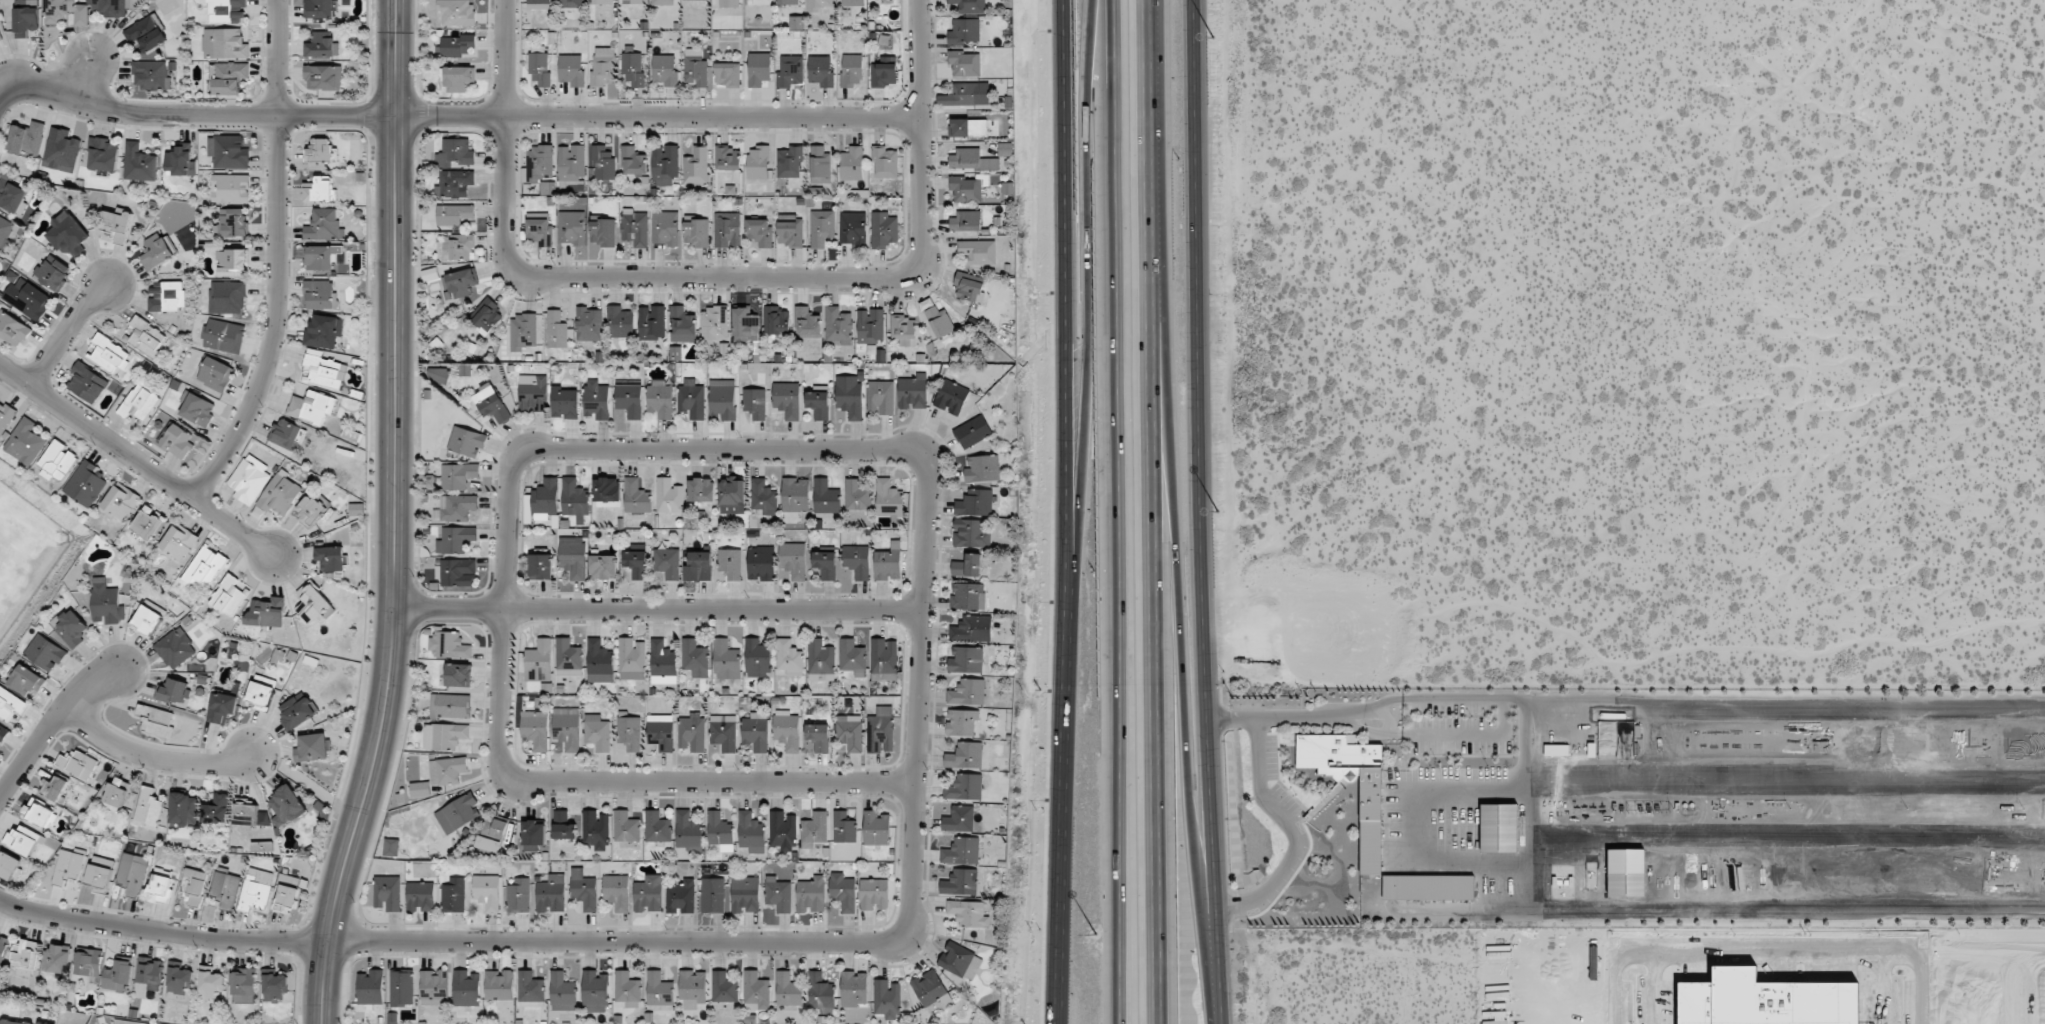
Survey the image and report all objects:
building: (686, 0)
building: (632, 1)
building: (602, 2)
building: (663, 2)
building: (788, 2)
building: (852, 2)
building: (571, 3)
building: (728, 3)
building: (540, 4)
building: (818, 5)
building: (970, 6)
building: (113, 7)
building: (319, 8)
building: (65, 11)
building: (226, 11)
building: (456, 12)
building: (25, 20)
building: (796, 22)
building: (964, 31)
building: (147, 34)
building: (0, 38)
building: (225, 43)
building: (456, 45)
building: (321, 46)
road: (506, 58)
building: (964, 63)
building: (540, 65)
building: (633, 66)
building: (602, 67)
building: (695, 68)
building: (665, 69)
building: (758, 69)
building: (571, 70)
building: (790, 70)
building: (852, 70)
building: (820, 71)
building: (883, 71)
building: (151, 74)
building: (728, 74)
building: (229, 77)
building: (323, 77)
building: (458, 78)
road: (1108, 91)
building: (961, 94)
road: (1150, 96)
road: (448, 116)
building: (967, 127)
building: (27, 138)
building: (1004, 149)
building: (61, 150)
building: (228, 151)
building: (319, 151)
building: (456, 153)
building: (102, 154)
building: (726, 158)
building: (965, 158)
building: (180, 161)
building: (571, 161)
building: (632, 161)
building: (603, 162)
building: (757, 162)
building: (788, 162)
building: (885, 162)
building: (138, 163)
building: (539, 163)
building: (664, 164)
building: (852, 164)
building: (696, 165)
building: (819, 165)
building: (454, 183)
building: (230, 188)
building: (319, 189)
building: (965, 189)
building: (11, 195)
building: (454, 214)
building: (965, 221)
building: (233, 222)
building: (117, 224)
building: (324, 225)
building: (571, 227)
building: (635, 227)
building: (822, 227)
building: (665, 228)
building: (852, 228)
building: (883, 229)
building: (727, 230)
building: (789, 230)
building: (5, 231)
building: (539, 232)
building: (602, 232)
building: (760, 232)
building: (696, 233)
building: (69, 235)
building: (456, 248)
building: (157, 251)
building: (978, 251)
building: (321, 256)
road: (275, 260)
building: (232, 262)
building: (53, 272)
road: (775, 277)
building: (459, 282)
building: (968, 286)
building: (320, 294)
building: (167, 296)
building: (227, 297)
building: (28, 298)
road: (1065, 306)
road: (1089, 306)
building: (485, 315)
building: (936, 319)
building: (775, 320)
building: (620, 322)
building: (652, 322)
building: (806, 323)
building: (589, 324)
building: (713, 324)
building: (838, 324)
building: (682, 325)
building: (745, 325)
building: (870, 325)
building: (12, 328)
building: (903, 330)
building: (323, 331)
building: (522, 331)
building: (558, 331)
building: (224, 336)
building: (146, 337)
road: (62, 338)
building: (108, 353)
building: (675, 353)
building: (323, 370)
building: (215, 374)
building: (440, 376)
building: (87, 382)
building: (912, 392)
building: (532, 393)
building: (849, 396)
building: (881, 396)
building: (951, 397)
building: (722, 398)
building: (596, 399)
building: (691, 399)
building: (787, 399)
building: (629, 400)
building: (660, 400)
building: (140, 401)
building: (755, 402)
building: (492, 403)
building: (565, 403)
building: (818, 404)
building: (312, 407)
building: (197, 409)
building: (5, 416)
building: (973, 431)
building: (285, 433)
building: (25, 441)
building: (178, 441)
building: (466, 441)
building: (58, 460)
road: (135, 462)
building: (982, 468)
building: (459, 475)
building: (249, 479)
building: (86, 483)
building: (701, 490)
building: (607, 492)
building: (280, 494)
building: (795, 494)
building: (732, 495)
building: (856, 495)
building: (636, 496)
building: (669, 496)
building: (762, 496)
building: (574, 497)
building: (825, 497)
building: (888, 498)
building: (120, 501)
building: (975, 502)
road: (1200, 502)
building: (356, 509)
building: (457, 509)
building: (310, 510)
road: (397, 515)
building: (149, 523)
building: (970, 533)
building: (455, 539)
building: (178, 543)
building: (573, 556)
building: (333, 558)
building: (793, 560)
building: (857, 561)
building: (667, 562)
building: (636, 563)
building: (730, 563)
building: (760, 563)
building: (825, 564)
building: (888, 564)
building: (540, 566)
building: (603, 566)
building: (699, 566)
building: (967, 566)
building: (205, 567)
building: (457, 572)
building: (228, 596)
building: (968, 596)
road: (1183, 598)
building: (106, 601)
road: (1110, 603)
building: (313, 605)
road: (1154, 608)
road: (658, 610)
building: (266, 612)
building: (148, 620)
building: (71, 629)
building: (972, 629)
building: (449, 645)
building: (175, 648)
building: (46, 652)
building: (884, 655)
building: (758, 657)
building: (789, 657)
building: (852, 657)
building: (568, 658)
building: (694, 658)
building: (631, 659)
building: (726, 660)
building: (820, 660)
building: (966, 660)
building: (539, 661)
building: (598, 661)
building: (662, 663)
building: (458, 675)
building: (27, 681)
building: (262, 691)
building: (967, 692)
road: (1437, 699)
building: (11, 705)
building: (222, 706)
building: (450, 706)
building: (298, 710)
road: (1295, 716)
building: (156, 720)
road: (50, 723)
building: (961, 723)
building: (566, 727)
building: (787, 730)
building: (661, 731)
building: (755, 731)
building: (881, 731)
building: (597, 732)
building: (629, 732)
building: (692, 732)
building: (724, 732)
building: (850, 732)
building: (3, 733)
road: (1454, 734)
building: (444, 735)
building: (818, 737)
building: (312, 747)
building: (1606, 749)
road: (153, 756)
building: (965, 756)
building: (78, 764)
building: (447, 770)
road: (710, 781)
road: (915, 786)
building: (965, 787)
building: (55, 788)
building: (420, 789)
building: (118, 793)
building: (286, 806)
building: (148, 808)
building: (183, 809)
building: (216, 809)
building: (40, 813)
building: (458, 813)
building: (246, 814)
road: (1063, 817)
building: (959, 819)
building: (563, 825)
building: (495, 827)
building: (626, 827)
building: (657, 827)
building: (843, 828)
building: (875, 828)
building: (1498, 828)
building: (814, 829)
road: (1289, 829)
building: (1369, 829)
building: (595, 830)
building: (782, 830)
building: (688, 831)
building: (720, 831)
building: (751, 832)
building: (533, 834)
building: (23, 840)
building: (489, 844)
building: (391, 847)
building: (961, 851)
building: (68, 865)
building: (9, 866)
building: (100, 871)
building: (133, 873)
building: (1626, 873)
building: (960, 882)
building: (193, 886)
building: (160, 887)
building: (1428, 887)
building: (225, 888)
building: (583, 889)
building: (617, 891)
building: (843, 891)
building: (486, 892)
building: (286, 893)
building: (387, 893)
building: (254, 894)
building: (551, 894)
building: (648, 894)
building: (745, 894)
building: (778, 894)
building: (873, 894)
building: (453, 895)
building: (518, 895)
building: (712, 895)
building: (811, 895)
building: (421, 896)
building: (680, 896)
building: (968, 913)
building: (3, 946)
building: (25, 958)
building: (55, 959)
building: (960, 961)
building: (88, 962)
building: (150, 973)
building: (118, 976)
building: (1789, 976)
building: (179, 981)
building: (211, 985)
building: (498, 985)
building: (244, 986)
building: (275, 987)
building: (370, 987)
building: (434, 987)
building: (530, 987)
building: (723, 987)
building: (928, 987)
building: (401, 988)
building: (466, 988)
building: (693, 988)
building: (627, 989)
building: (659, 989)
building: (756, 989)
building: (788, 989)
building: (854, 989)
building: (595, 991)
building: (561, 992)
building: (820, 993)
building: (886, 997)
road: (1220, 1014)
building: (15, 1022)

